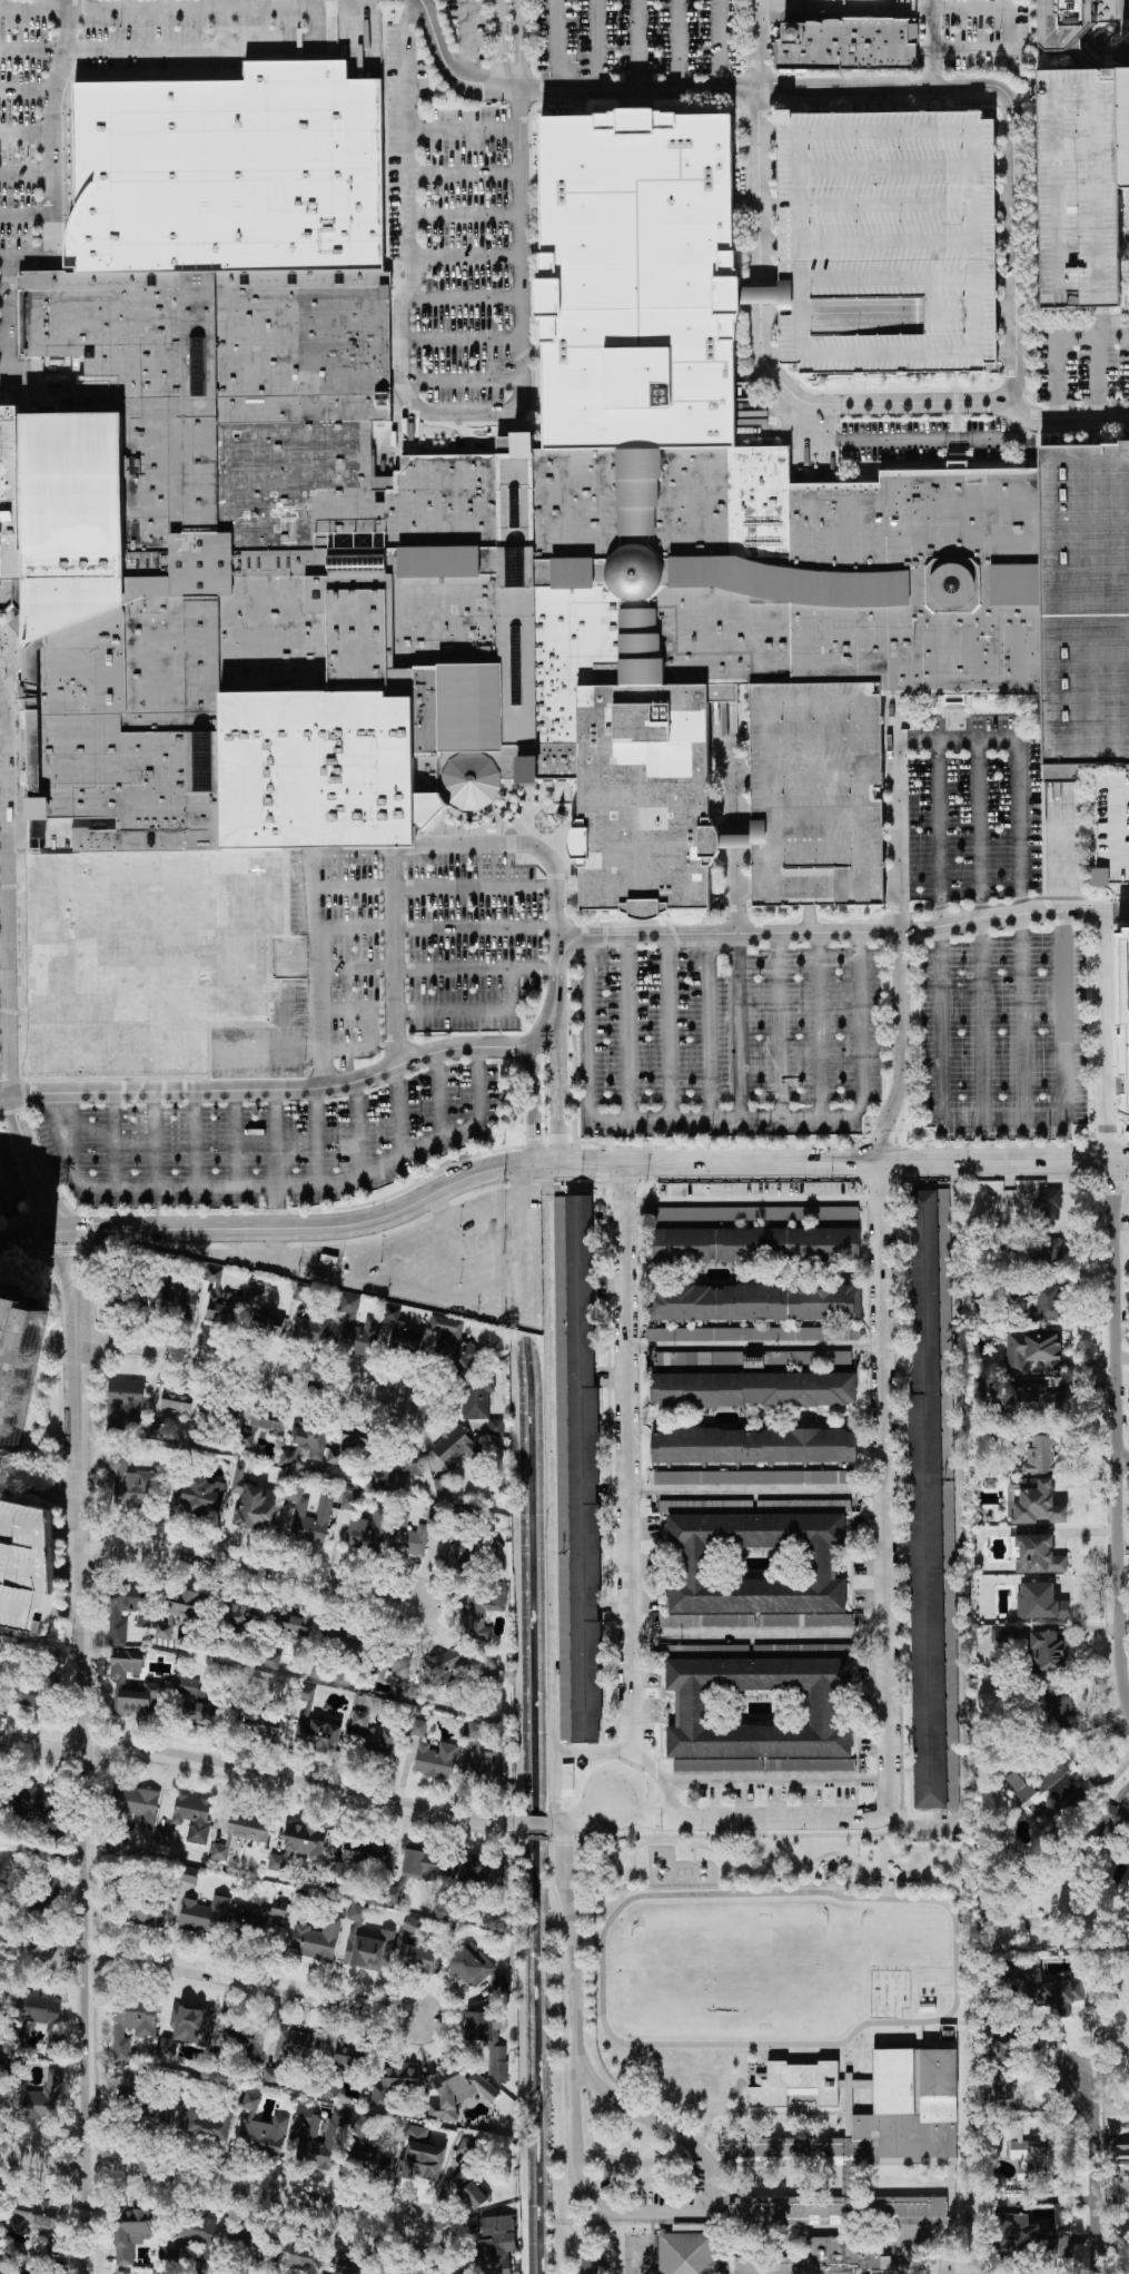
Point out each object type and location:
road: (337, 0)
road: (793, 4)
road: (824, 4)
road: (930, 4)
road: (83, 8)
road: (880, 10)
road: (1009, 13)
building: (1060, 21)
road: (224, 26)
road: (83, 27)
parking lot: (469, 27)
road: (317, 29)
parking lot: (181, 31)
parking lot: (637, 37)
road: (467, 40)
road: (521, 43)
road: (717, 43)
road: (557, 45)
road: (596, 45)
road: (637, 45)
road: (676, 45)
building: (846, 45)
road: (499, 46)
road: (83, 48)
road: (970, 51)
building: (1074, 57)
road: (1076, 58)
road: (83, 68)
road: (229, 76)
road: (864, 86)
road: (26, 92)
parking lot: (20, 116)
building: (1123, 125)
road: (465, 130)
road: (26, 135)
road: (757, 140)
building: (229, 173)
road: (26, 174)
road: (465, 174)
building: (1077, 186)
parking lot: (1077, 186)
road: (51, 209)
road: (26, 215)
road: (465, 217)
parking lot: (449, 230)
building: (887, 243)
parking lot: (887, 243)
road: (467, 257)
road: (3, 260)
building: (756, 292)
road: (760, 292)
road: (756, 293)
road: (464, 298)
road: (3, 301)
road: (1066, 321)
road: (1100, 321)
road: (2, 341)
road: (462, 341)
road: (1051, 341)
road: (463, 380)
road: (1095, 380)
road: (843, 405)
road: (418, 408)
road: (1082, 422)
road: (909, 441)
road: (1, 481)
building: (1, 482)
building: (463, 594)
road: (16, 629)
road: (10, 640)
road: (2, 703)
road: (18, 730)
road: (2, 745)
road: (735, 782)
road: (1080, 784)
road: (2, 785)
building: (816, 796)
parking lot: (816, 796)
parking lot: (974, 809)
road: (2, 826)
building: (1111, 830)
parking lot: (1111, 830)
building: (731, 838)
road: (731, 839)
road: (736, 839)
road: (410, 849)
road: (2, 867)
road: (1020, 869)
road: (433, 887)
road: (736, 890)
road: (1063, 900)
road: (2, 908)
road: (809, 921)
road: (436, 928)
road: (981, 931)
road: (843, 934)
road: (900, 935)
road: (274, 937)
parking lot: (474, 939)
road: (2, 947)
parking lot: (339, 949)
road: (314, 958)
road: (395, 958)
road: (6, 966)
road: (439, 968)
road: (2, 986)
road: (475, 1011)
building: (1120, 1013)
road: (627, 1025)
road: (667, 1025)
road: (710, 1025)
road: (737, 1025)
road: (780, 1025)
road: (819, 1025)
road: (3, 1031)
parking lot: (1004, 1035)
road: (1103, 1035)
parking lot: (731, 1041)
road: (336, 1051)
parking lot: (263, 1065)
road: (3, 1070)
road: (281, 1090)
road: (438, 1092)
road: (943, 1096)
road: (6, 1099)
road: (534, 1102)
road: (558, 1102)
road: (398, 1112)
road: (723, 1116)
road: (358, 1129)
road: (317, 1135)
road: (235, 1139)
road: (153, 1140)
road: (192, 1140)
road: (112, 1141)
parking lot: (270, 1143)
road: (276, 1159)
road: (557, 1162)
parking lot: (9, 1182)
road: (273, 1187)
building: (694, 1189)
road: (3, 1199)
road: (753, 1201)
road: (437, 1203)
building: (1049, 1204)
building: (753, 1213)
traffic signals: (61, 1231)
road: (276, 1238)
building: (752, 1244)
building: (1049, 1250)
parking lot: (435, 1260)
building: (221, 1301)
building: (756, 1302)
building: (349, 1303)
building: (1048, 1303)
building: (263, 1313)
building: (310, 1330)
building: (400, 1332)
building: (752, 1335)
building: (454, 1340)
road: (755, 1346)
building: (1032, 1351)
building: (808, 1358)
building: (709, 1359)
building: (17, 1361)
road: (250, 1362)
building: (753, 1389)
building: (981, 1391)
building: (477, 1398)
building: (178, 1399)
building: (1031, 1400)
building: (123, 1404)
building: (256, 1424)
building: (496, 1427)
road: (1120, 1429)
building: (310, 1439)
building: (350, 1446)
building: (753, 1446)
building: (1040, 1456)
building: (288, 1458)
road: (1125, 1460)
building: (949, 1465)
building: (394, 1466)
building: (577, 1469)
building: (753, 1477)
building: (130, 1484)
road: (630, 1489)
road: (757, 1489)
road: (40, 1490)
road: (885, 1490)
road: (552, 1492)
building: (202, 1497)
building: (348, 1498)
building: (1032, 1502)
building: (252, 1503)
building: (932, 1503)
building: (324, 1509)
building: (435, 1515)
building: (367, 1530)
road: (968, 1530)
road: (66, 1533)
building: (407, 1536)
building: (459, 1554)
building: (1038, 1555)
road: (252, 1562)
building: (26, 1567)
parking lot: (26, 1567)
building: (757, 1569)
road: (67, 1572)
building: (1040, 1602)
building: (125, 1609)
building: (182, 1609)
road: (67, 1611)
building: (484, 1613)
building: (241, 1614)
building: (294, 1628)
road: (760, 1634)
building: (1001, 1634)
building: (340, 1643)
building: (1047, 1652)
building: (270, 1660)
building: (447, 1663)
building: (389, 1665)
building: (318, 1671)
building: (120, 1682)
building: (31, 1696)
building: (1056, 1701)
building: (199, 1704)
building: (759, 1716)
building: (360, 1719)
building: (314, 1726)
building: (418, 1727)
building: (260, 1731)
building: (380, 1742)
road: (594, 1749)
road: (88, 1751)
building: (485, 1759)
building: (436, 1761)
road: (260, 1772)
building: (567, 1780)
road: (755, 1780)
building: (1054, 1783)
building: (1019, 1786)
building: (37, 1801)
building: (137, 1807)
building: (192, 1817)
road: (716, 1817)
road: (534, 1821)
road: (554, 1822)
building: (1111, 1822)
building: (242, 1831)
building: (165, 1838)
building: (299, 1844)
road: (955, 1852)
road: (695, 1854)
road: (631, 1857)
building: (357, 1858)
park: (773, 1860)
building: (414, 1872)
building: (483, 1873)
road: (755, 1873)
building: (48, 1893)
building: (301, 1902)
building: (278, 1909)
building: (206, 1916)
building: (251, 1918)
building: (146, 1919)
building: (412, 1926)
building: (317, 1939)
road: (576, 1941)
building: (366, 1945)
building: (418, 1959)
building: (486, 1971)
road: (212, 1976)
building: (0, 1997)
building: (39, 2018)
building: (483, 2024)
building: (131, 2025)
building: (188, 2028)
building: (294, 2052)
building: (497, 2063)
building: (795, 2084)
building: (328, 2089)
building: (455, 2089)
building: (42, 2099)
building: (155, 2117)
building: (308, 2120)
building: (208, 2123)
building: (260, 2130)
building: (329, 2143)
building: (370, 2147)
building: (466, 2147)
building: (1030, 2154)
building: (420, 2156)
road: (1096, 2174)
building: (1120, 2176)
road: (216, 2183)
building: (848, 2183)
building: (468, 2189)
road: (631, 2211)
building: (32, 2214)
building: (132, 2232)
building: (1022, 2234)
road: (909, 2238)
building: (295, 2256)
road: (944, 2257)
building: (3, 2262)
building: (341, 2263)
building: (267, 2273)
building: (464, 2273)
building: (594, 2273)

